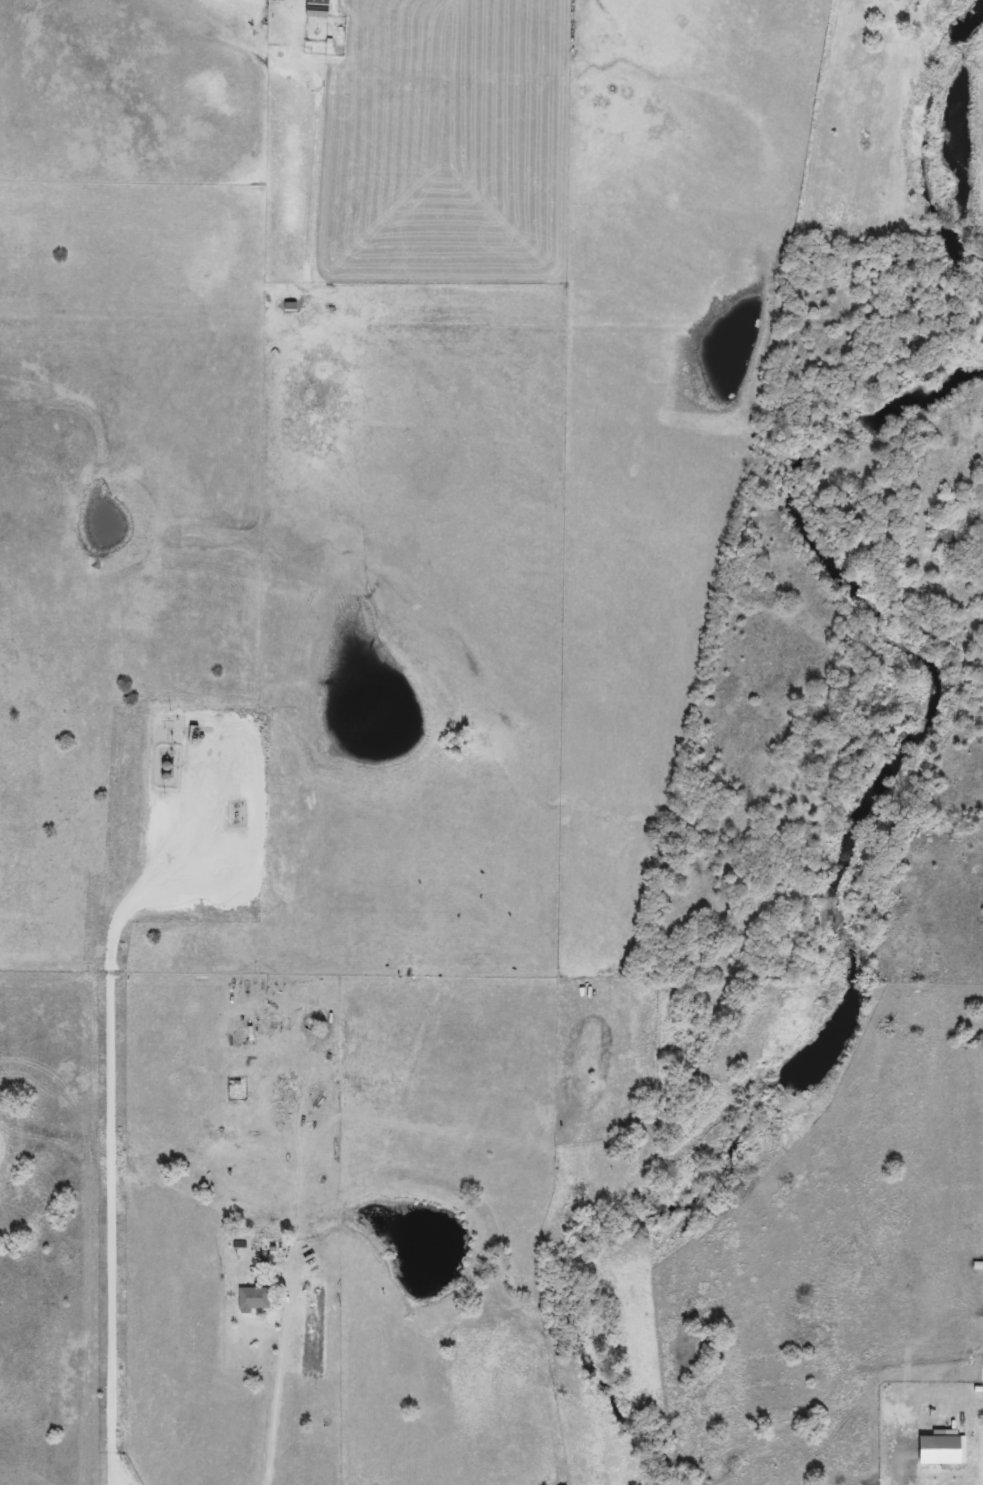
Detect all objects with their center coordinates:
building: (278, 0)
building: (319, 8)
building: (279, 1091)
building: (254, 1299)
road: (282, 1380)
building: (936, 1448)

